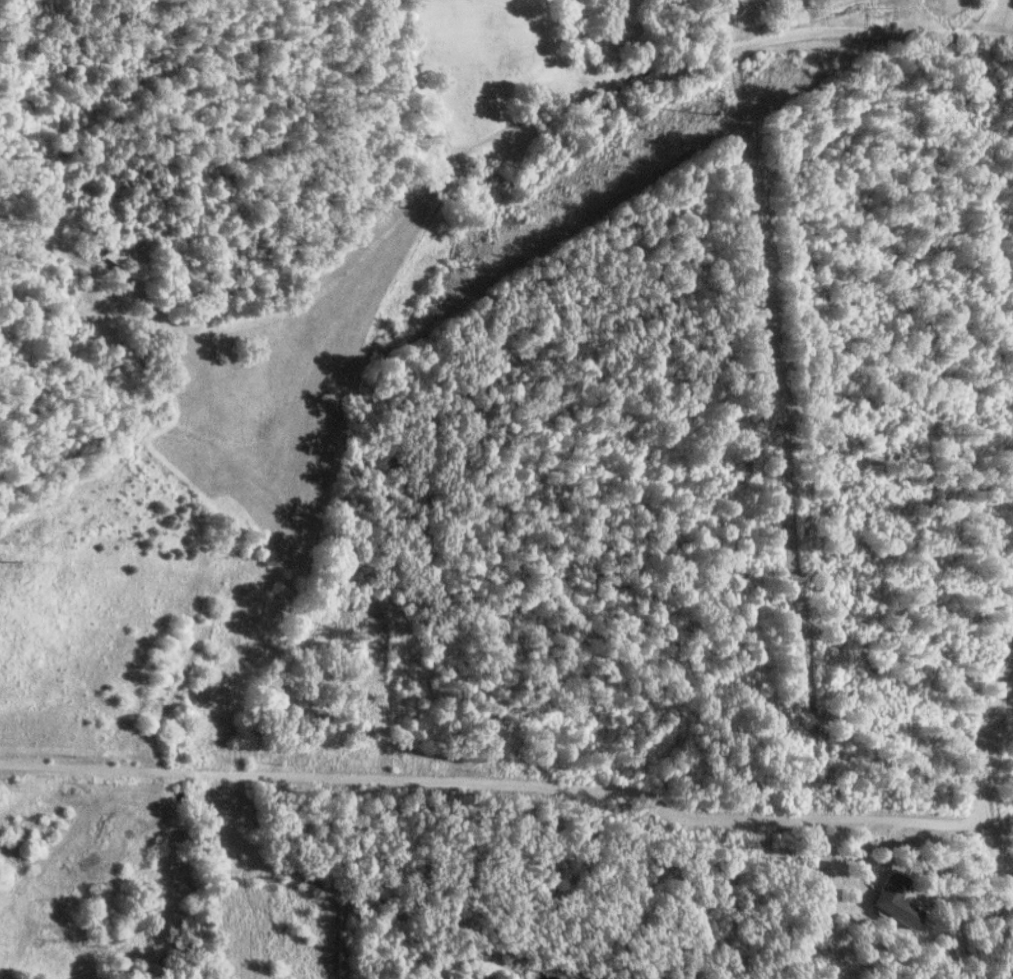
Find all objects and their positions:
road: (969, 19)
road: (980, 35)
road: (725, 45)
road: (983, 763)
road: (498, 781)
building: (894, 900)

